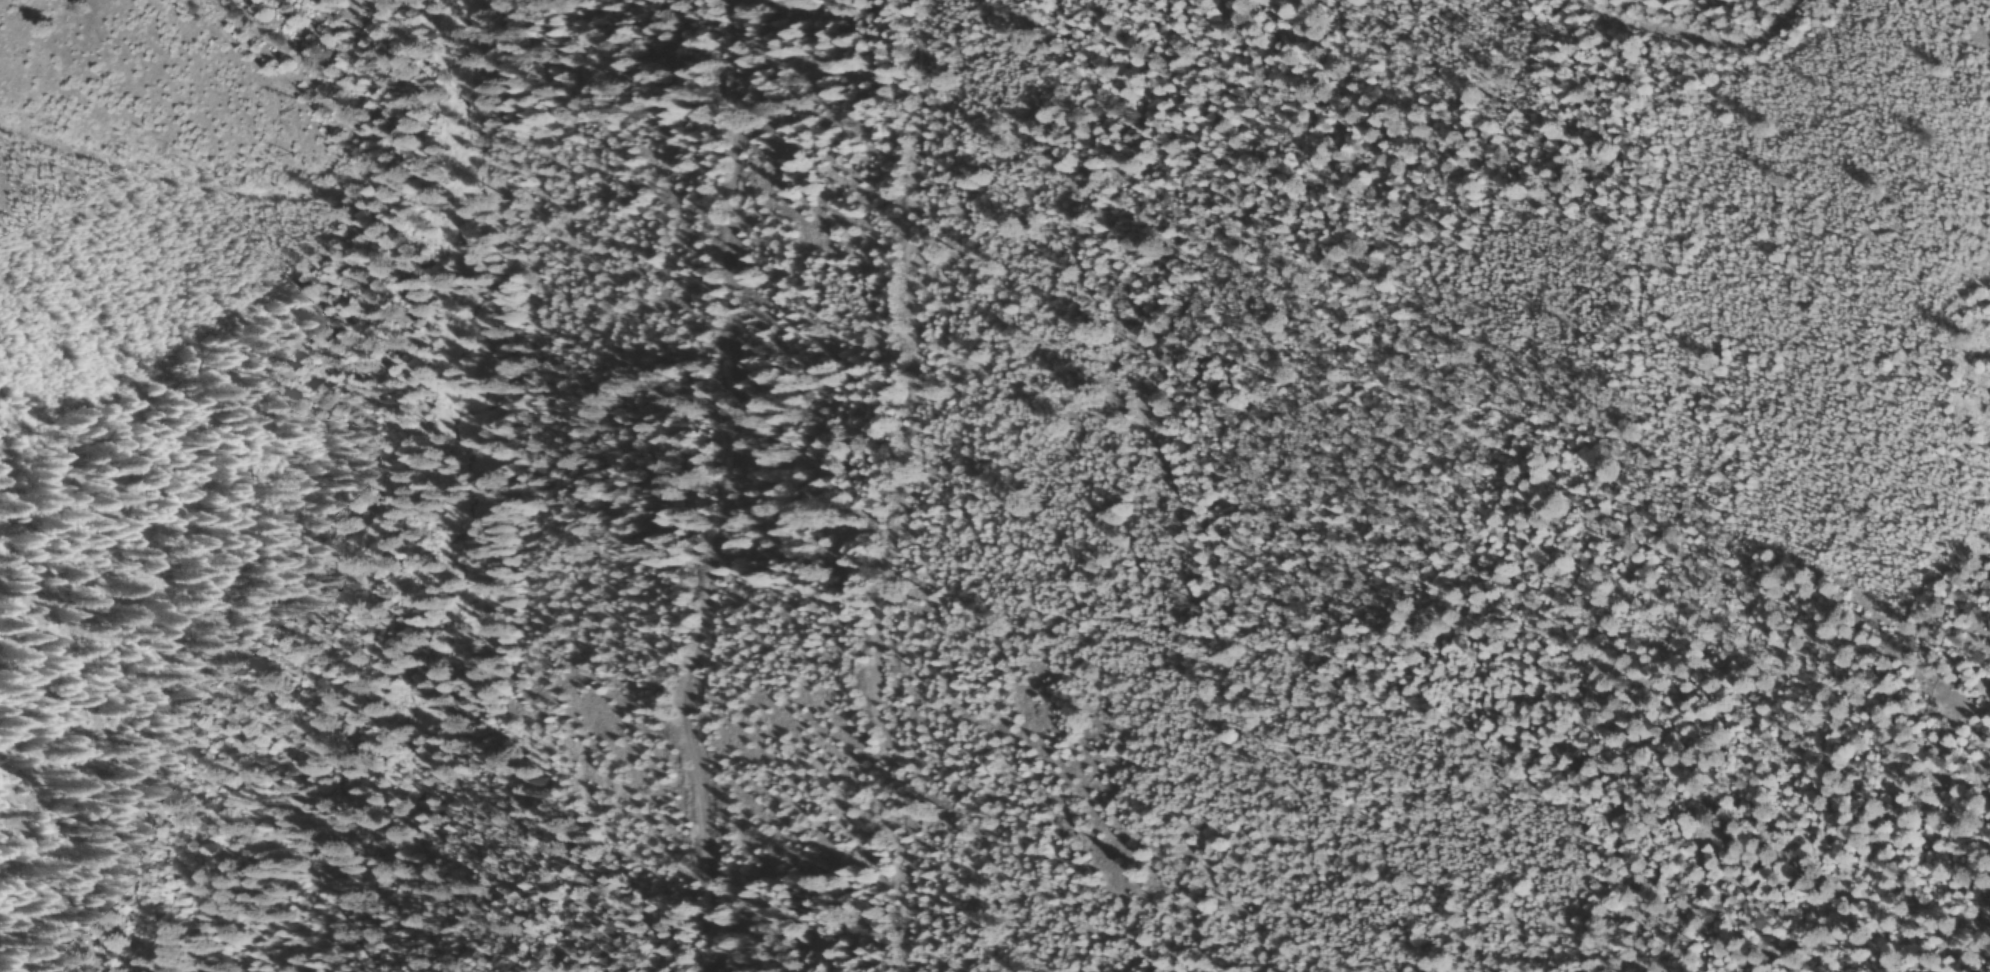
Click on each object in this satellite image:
road: (1953, 20)
road: (1474, 65)
road: (874, 480)
road: (696, 485)

